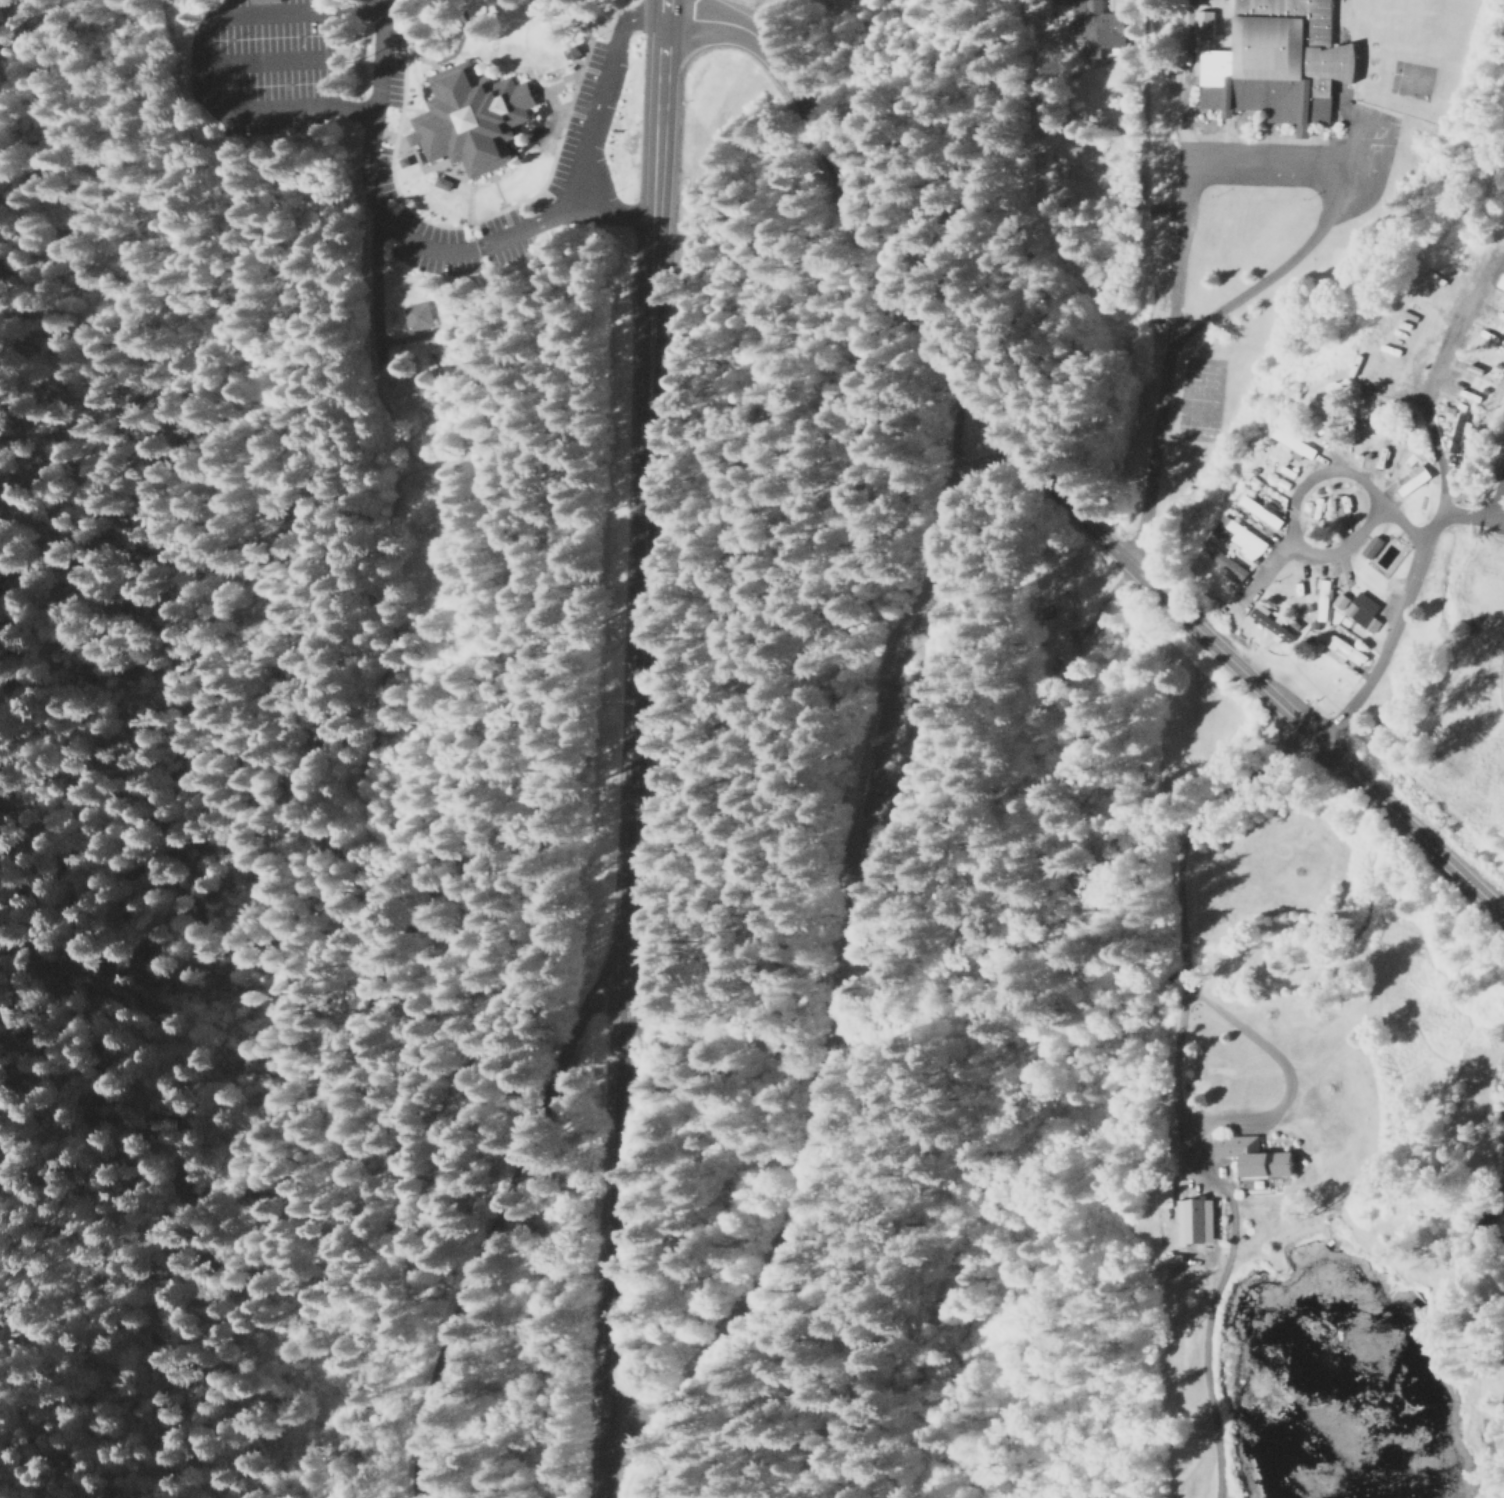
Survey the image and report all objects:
building: (264, 3)
park: (1452, 6)
road: (629, 10)
building: (1095, 25)
building: (1204, 27)
building: (1277, 66)
road: (372, 115)
building: (473, 122)
building: (403, 165)
road: (1181, 176)
road: (569, 184)
building: (443, 186)
building: (1158, 211)
road: (601, 215)
building: (1500, 281)
road: (1240, 296)
building: (419, 318)
building: (1458, 432)
building: (1292, 443)
building: (1375, 459)
building: (1411, 478)
road: (1047, 483)
road: (1296, 491)
road: (1495, 497)
building: (1341, 504)
building: (1317, 507)
building: (1257, 509)
road: (1438, 515)
road: (1469, 518)
building: (1242, 537)
building: (1371, 545)
building: (1227, 564)
road: (1277, 564)
road: (361, 596)
building: (1322, 599)
building: (1339, 600)
building: (1362, 611)
building: (1270, 622)
building: (1343, 650)
road: (632, 749)
road: (194, 766)
road: (1178, 1033)
building: (1252, 1158)
road: (502, 1218)
building: (1193, 1220)

